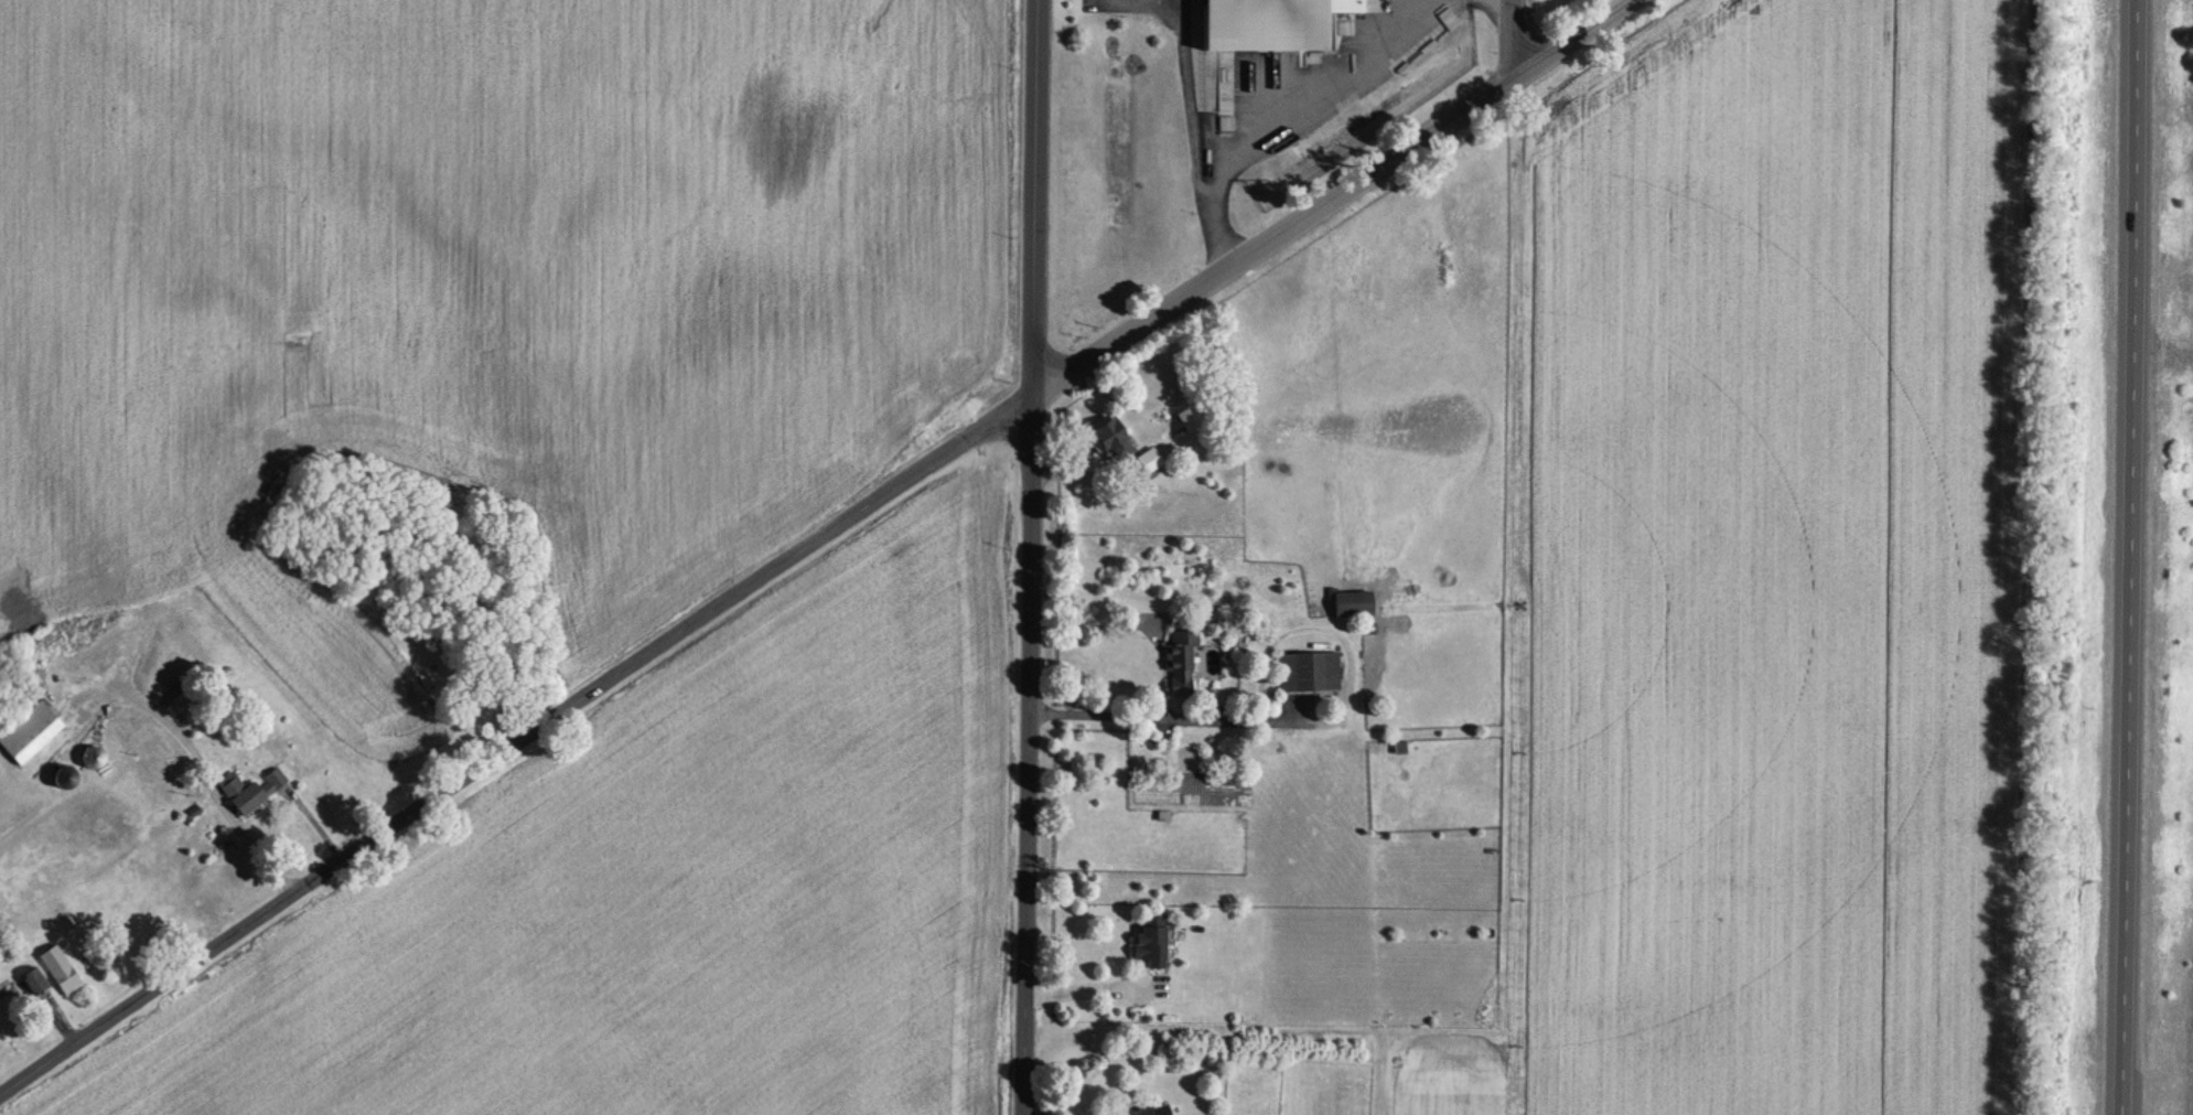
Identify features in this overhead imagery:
road: (1147, 3)
road: (1146, 6)
building: (1270, 22)
road: (1511, 40)
road: (1193, 104)
road: (1292, 111)
building: (1107, 436)
road: (810, 542)
road: (1030, 557)
road: (2131, 557)
building: (1350, 602)
building: (1178, 660)
building: (1307, 669)
road: (1167, 719)
building: (29, 731)
building: (92, 757)
building: (273, 776)
building: (238, 792)
building: (1149, 940)
building: (57, 968)
building: (31, 982)
road: (1085, 997)
building: (1139, 1111)

